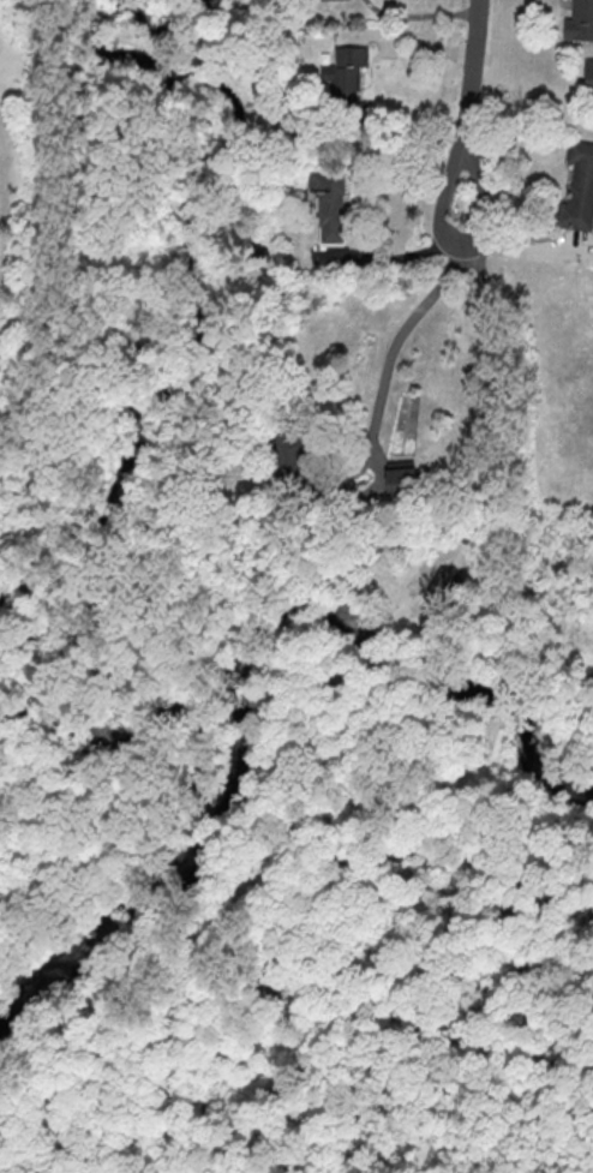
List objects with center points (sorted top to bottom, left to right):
building: (325, 0)
road: (421, 13)
building: (580, 20)
building: (589, 73)
building: (347, 77)
road: (467, 106)
building: (580, 188)
building: (330, 205)
river: (190, 241)
road: (405, 333)
road: (490, 444)
building: (290, 456)
building: (402, 478)
river: (354, 621)
road: (499, 695)
road: (493, 729)
river: (142, 732)
road: (533, 789)
road: (270, 849)
road: (239, 893)
river: (116, 929)

